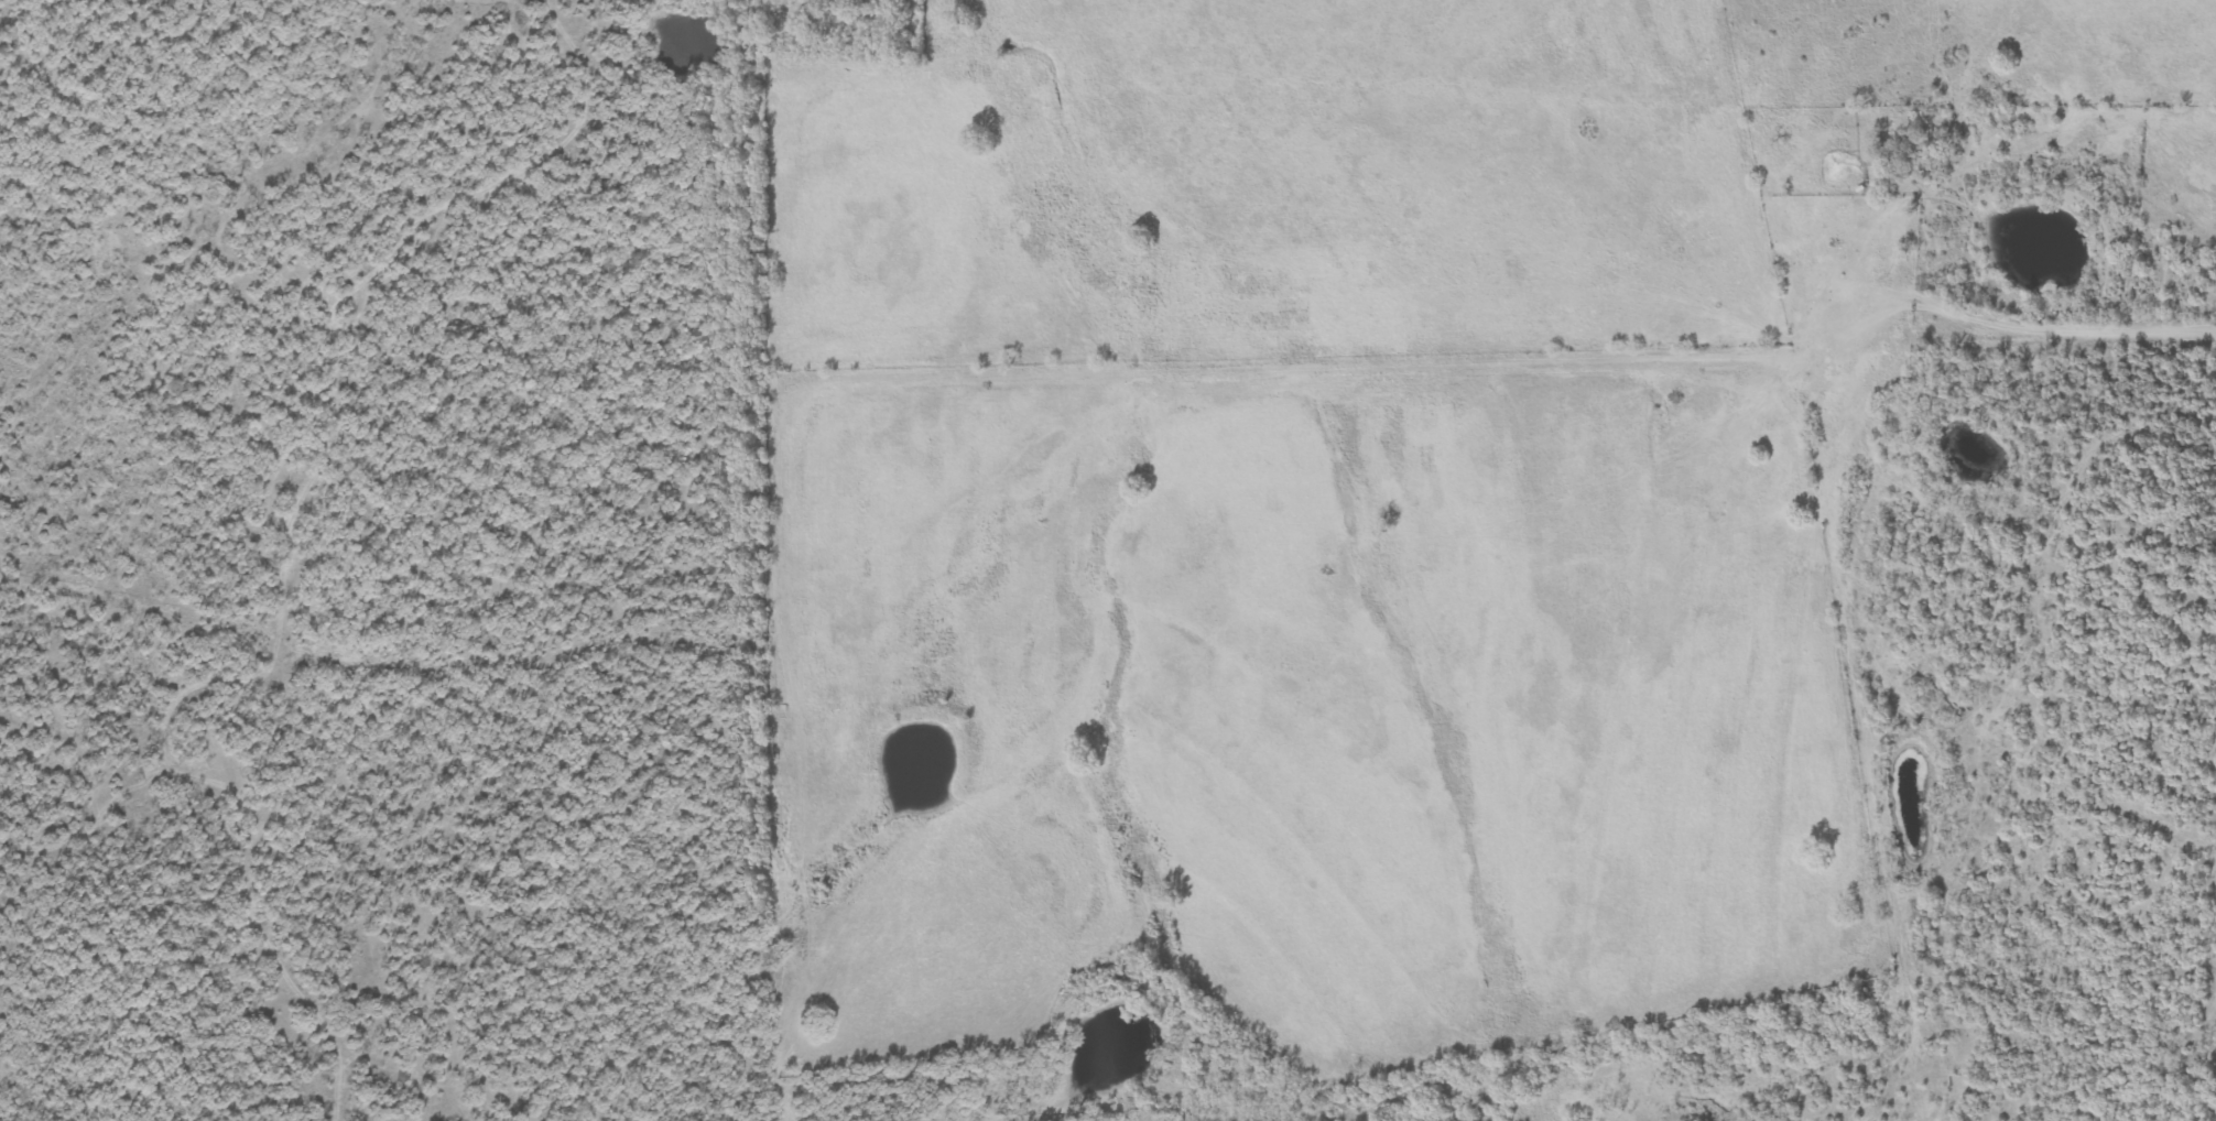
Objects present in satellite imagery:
road: (1126, 364)
road: (1929, 681)

